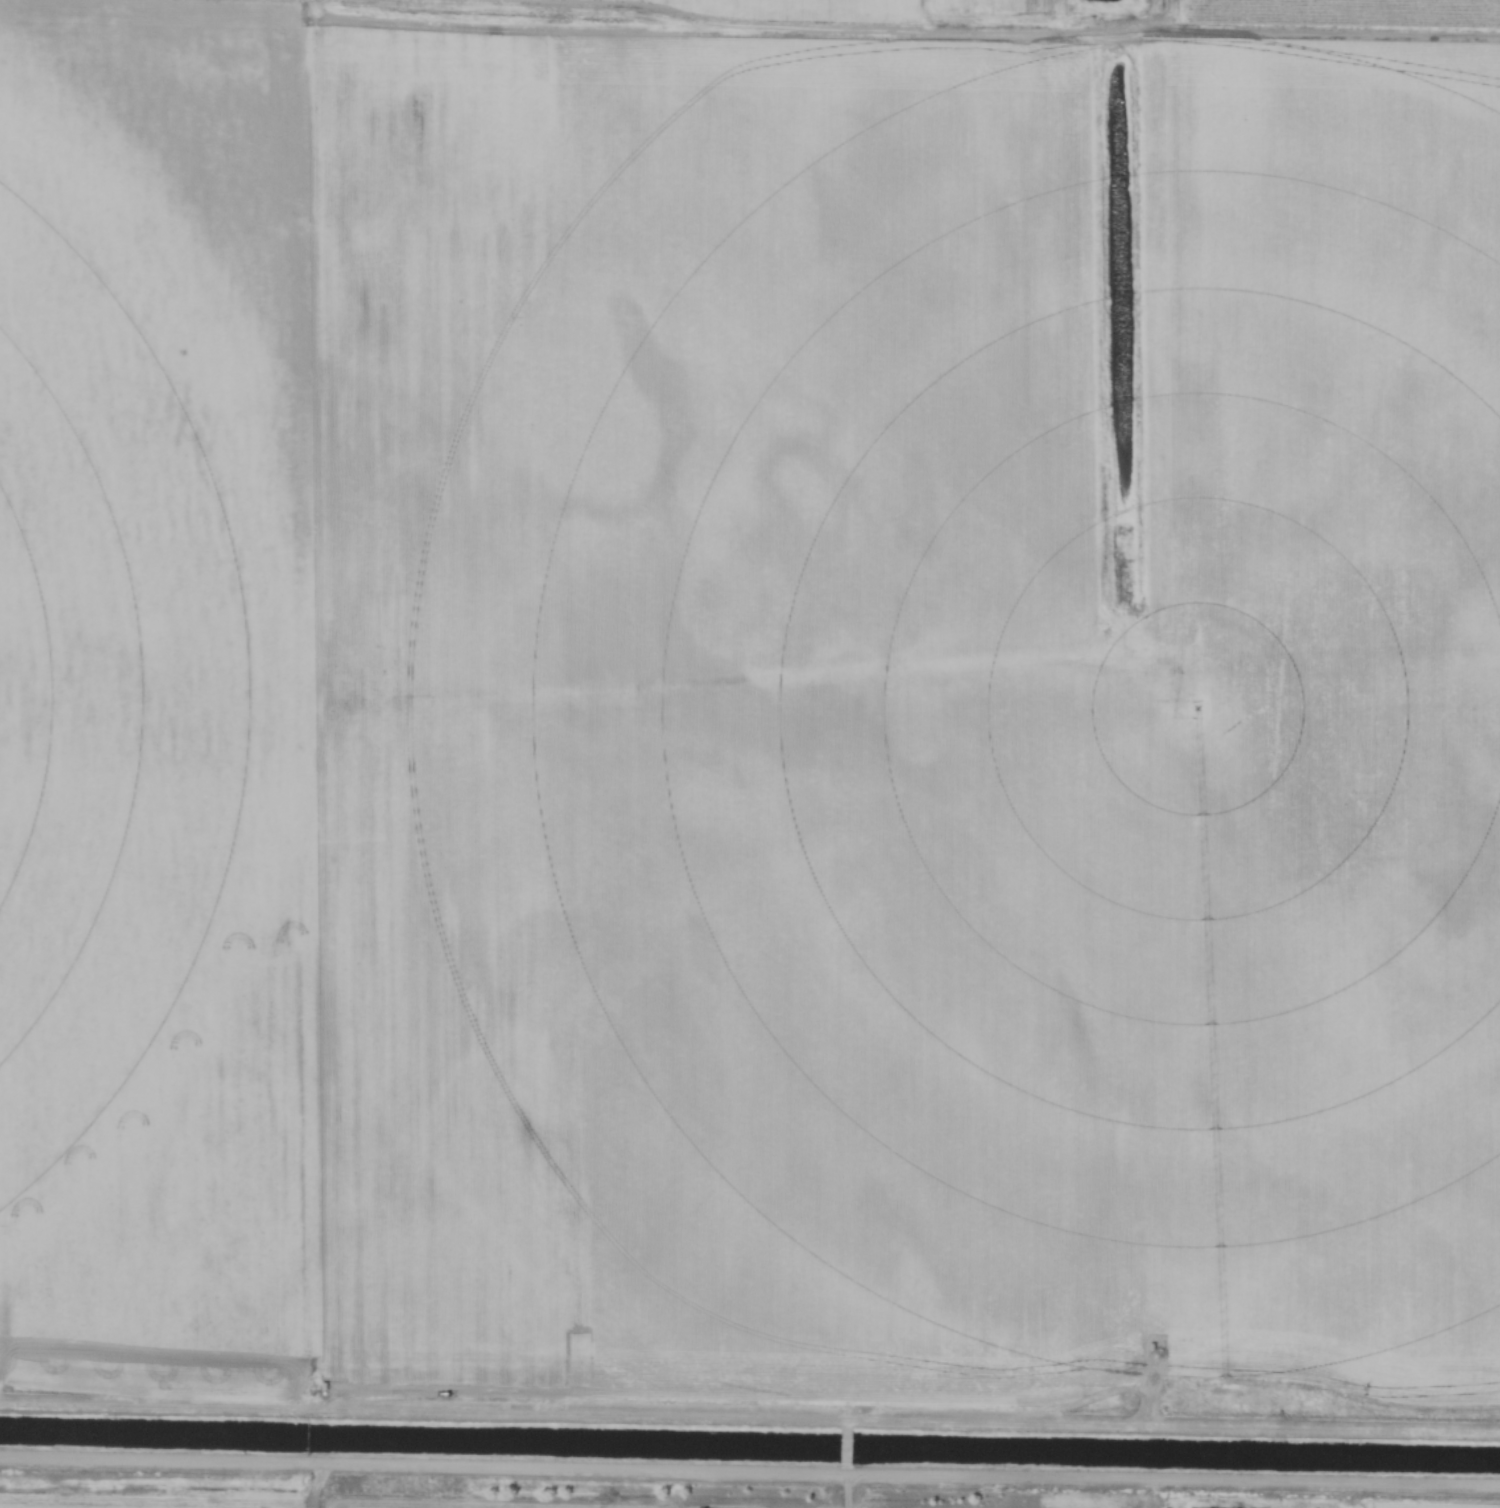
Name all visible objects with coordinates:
crop: (1343, 11)
road: (750, 1420)
crop: (147, 1497)
crop: (1429, 1502)

